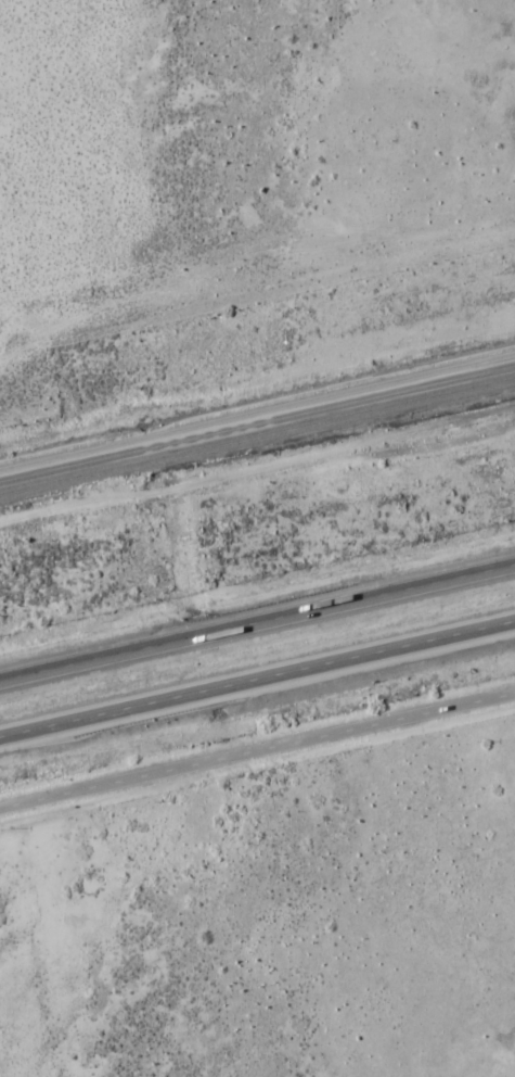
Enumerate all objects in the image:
railway: (257, 418)
railway: (257, 434)
road: (257, 623)
road: (257, 682)
road: (257, 753)

